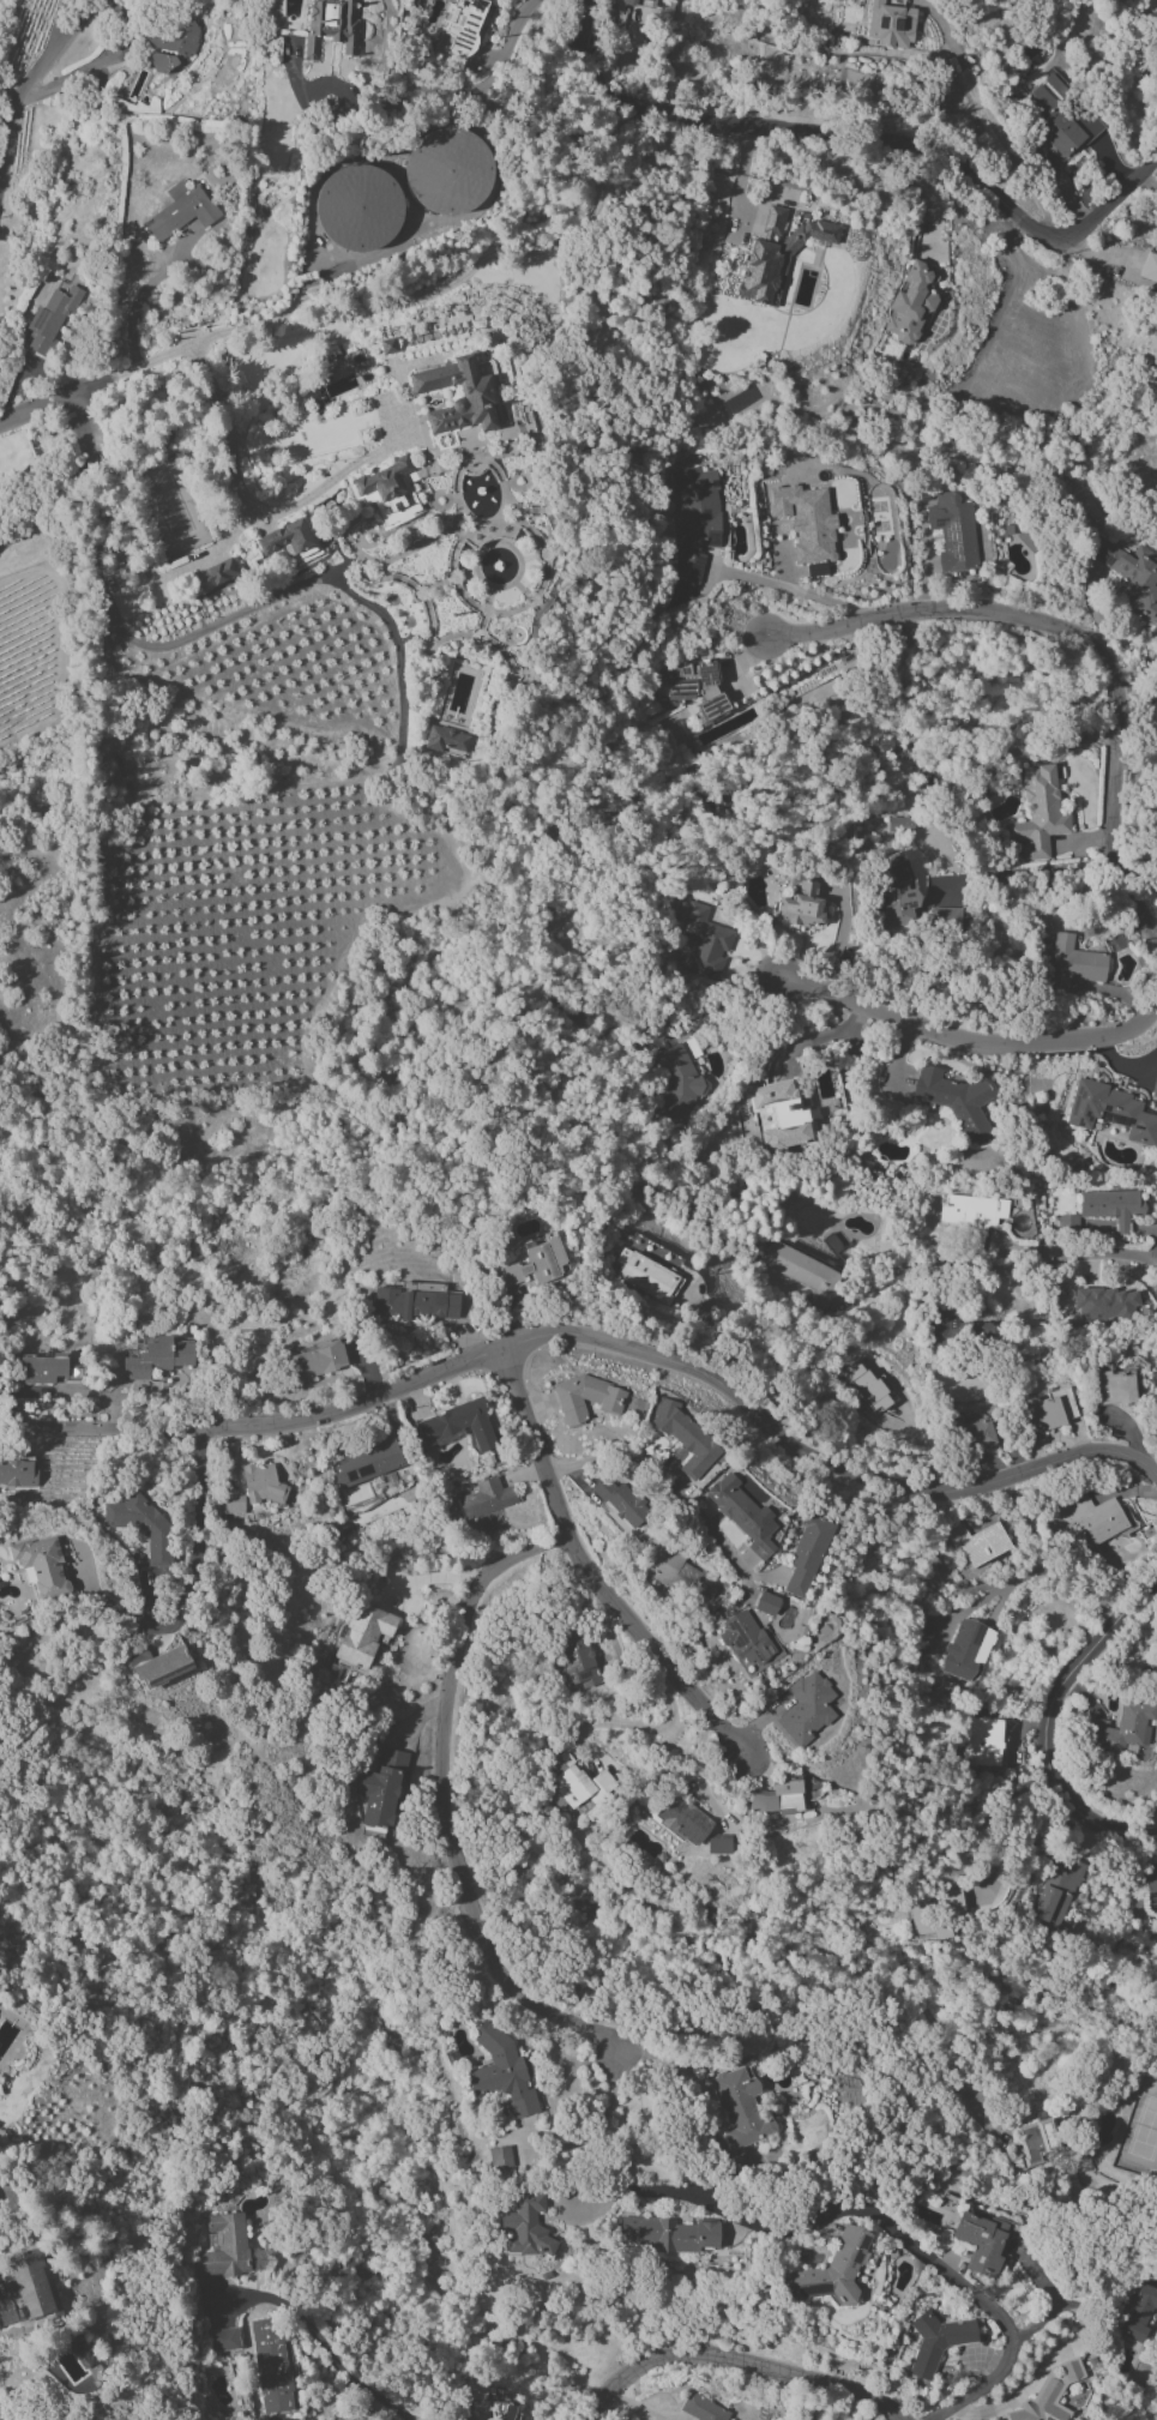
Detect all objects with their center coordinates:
building: (1133, 0)
building: (640, 2)
building: (890, 25)
building: (330, 26)
building: (463, 26)
building: (173, 48)
road: (587, 49)
road: (621, 56)
road: (25, 88)
road: (10, 91)
road: (462, 92)
road: (990, 116)
building: (1059, 116)
road: (906, 143)
building: (447, 173)
building: (357, 207)
building: (181, 211)
building: (773, 222)
road: (488, 258)
building: (777, 261)
building: (1149, 267)
road: (143, 294)
building: (1156, 295)
building: (911, 303)
building: (50, 318)
building: (1156, 330)
road: (126, 372)
building: (475, 390)
road: (36, 410)
road: (338, 475)
road: (71, 481)
building: (388, 492)
road: (248, 511)
building: (695, 519)
building: (952, 531)
building: (285, 538)
building: (215, 573)
building: (1129, 574)
road: (796, 590)
road: (234, 615)
road: (1079, 637)
road: (1133, 674)
building: (693, 687)
building: (447, 740)
building: (1038, 813)
building: (899, 825)
crop: (261, 841)
building: (1155, 884)
building: (896, 889)
building: (801, 905)
building: (946, 917)
building: (705, 941)
building: (1072, 964)
road: (712, 1007)
road: (972, 1037)
building: (677, 1082)
building: (1155, 1089)
building: (956, 1102)
building: (1156, 1106)
building: (1111, 1112)
building: (782, 1115)
building: (1111, 1206)
building: (971, 1217)
building: (1068, 1223)
road: (1085, 1252)
building: (537, 1263)
building: (805, 1274)
building: (416, 1304)
building: (1107, 1305)
building: (940, 1328)
road: (595, 1334)
building: (156, 1358)
building: (318, 1360)
building: (41, 1369)
building: (867, 1387)
building: (1113, 1387)
building: (586, 1398)
building: (1050, 1410)
building: (458, 1425)
building: (974, 1429)
building: (685, 1438)
building: (366, 1463)
building: (17, 1473)
road: (663, 1477)
building: (261, 1483)
building: (621, 1501)
building: (487, 1503)
building: (233, 1504)
building: (742, 1515)
building: (1089, 1519)
building: (141, 1527)
building: (977, 1542)
building: (807, 1554)
building: (42, 1566)
road: (589, 1570)
building: (677, 1572)
road: (1066, 1581)
road: (188, 1585)
building: (766, 1603)
building: (922, 1626)
building: (364, 1636)
building: (747, 1642)
building: (966, 1649)
building: (577, 1662)
building: (158, 1664)
building: (806, 1708)
road: (1054, 1718)
road: (643, 1728)
building: (1121, 1728)
building: (984, 1742)
building: (576, 1783)
building: (381, 1790)
building: (776, 1798)
road: (445, 1802)
road: (1007, 1814)
building: (681, 1819)
building: (718, 1844)
building: (1056, 1891)
building: (1151, 1891)
building: (935, 1913)
building: (501, 2071)
road: (675, 2082)
building: (740, 2108)
road: (597, 2133)
building: (1035, 2144)
building: (499, 2157)
building: (525, 2227)
road: (898, 2232)
building: (668, 2234)
building: (982, 2240)
building: (832, 2270)
building: (25, 2289)
road: (1045, 2298)
building: (1138, 2312)
building: (225, 2338)
building: (936, 2342)
road: (736, 2360)
building: (271, 2366)
road: (338, 2370)
road: (1019, 2392)
building: (703, 2409)
road: (5, 2414)

